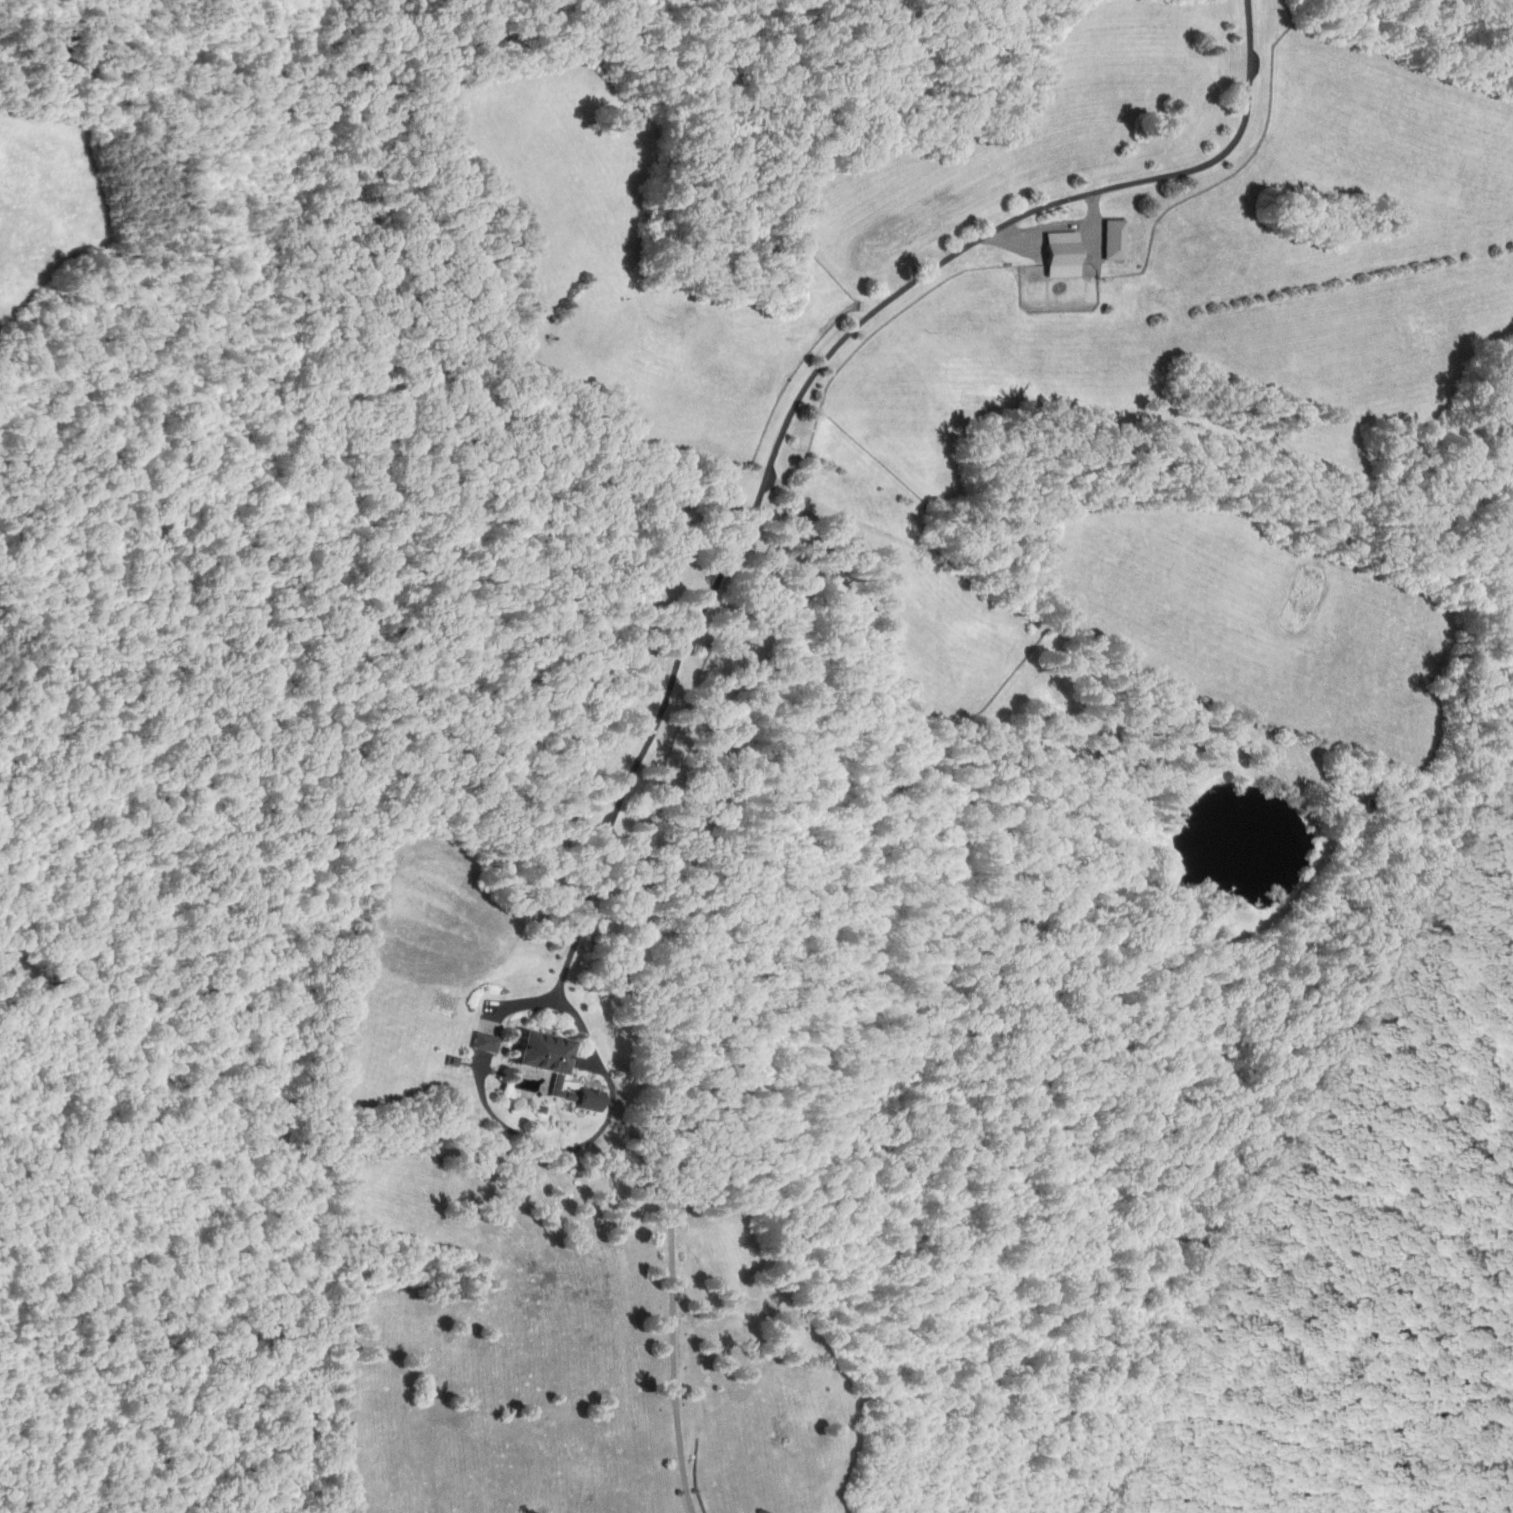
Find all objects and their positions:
building: (1112, 239)
building: (1059, 254)
road: (687, 640)
building: (483, 1042)
building: (549, 1066)

